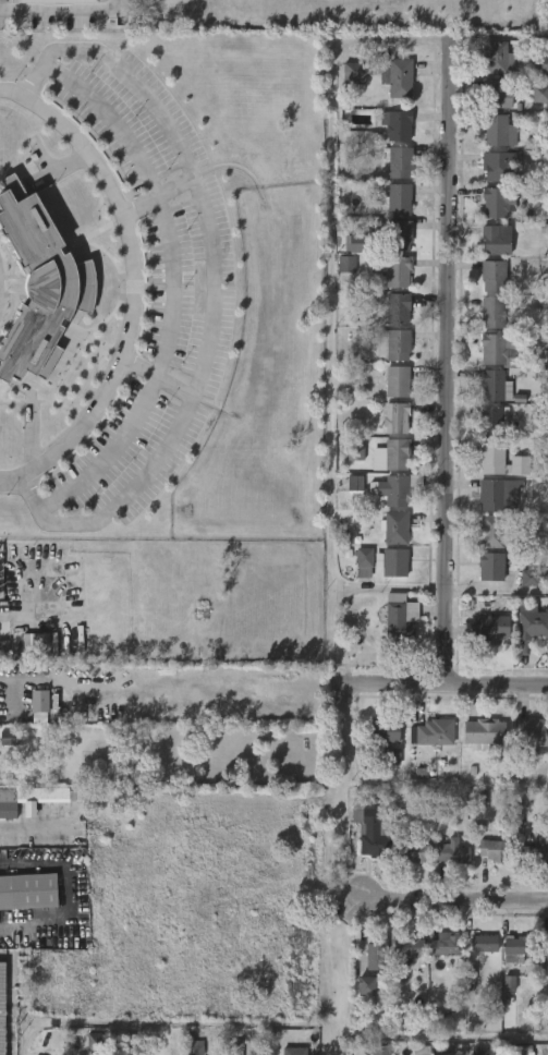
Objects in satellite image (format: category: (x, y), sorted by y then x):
building: (58, 1)
road: (117, 4)
park: (346, 7)
road: (59, 11)
road: (448, 39)
building: (497, 57)
building: (540, 63)
building: (354, 74)
building: (397, 77)
building: (496, 93)
building: (539, 94)
road: (111, 120)
building: (395, 124)
building: (498, 130)
building: (397, 161)
building: (497, 165)
road: (156, 194)
building: (394, 199)
building: (496, 204)
building: (395, 234)
building: (494, 240)
building: (352, 241)
building: (346, 264)
building: (394, 270)
building: (492, 276)
building: (41, 283)
road: (172, 284)
road: (212, 284)
road: (133, 288)
building: (544, 304)
building: (393, 308)
building: (491, 313)
building: (392, 345)
building: (494, 350)
road: (330, 361)
road: (446, 361)
road: (158, 376)
building: (395, 381)
building: (494, 386)
building: (394, 419)
building: (492, 421)
building: (355, 453)
road: (109, 454)
building: (394, 456)
building: (490, 459)
building: (355, 484)
building: (392, 489)
building: (497, 496)
building: (393, 527)
building: (492, 532)
building: (363, 562)
building: (391, 562)
building: (490, 567)
building: (532, 578)
road: (439, 590)
building: (401, 619)
building: (490, 627)
building: (531, 628)
building: (38, 641)
building: (4, 648)
road: (49, 678)
road: (448, 684)
building: (37, 701)
building: (40, 718)
building: (386, 729)
building: (433, 731)
building: (483, 732)
building: (532, 732)
building: (8, 738)
building: (393, 755)
road: (348, 772)
building: (28, 798)
building: (370, 827)
road: (32, 834)
building: (492, 849)
building: (412, 851)
building: (450, 851)
building: (534, 851)
building: (28, 892)
road: (68, 898)
road: (454, 900)
building: (483, 943)
building: (443, 945)
building: (515, 947)
building: (406, 948)
building: (377, 955)
building: (544, 955)
building: (509, 984)
building: (366, 986)
road: (336, 999)
building: (382, 1002)
building: (0, 1004)
road: (163, 1024)
road: (441, 1039)
building: (94, 1040)
building: (193, 1047)
building: (380, 1050)
building: (480, 1050)
building: (523, 1050)
building: (234, 1051)
building: (295, 1051)
building: (422, 1051)

